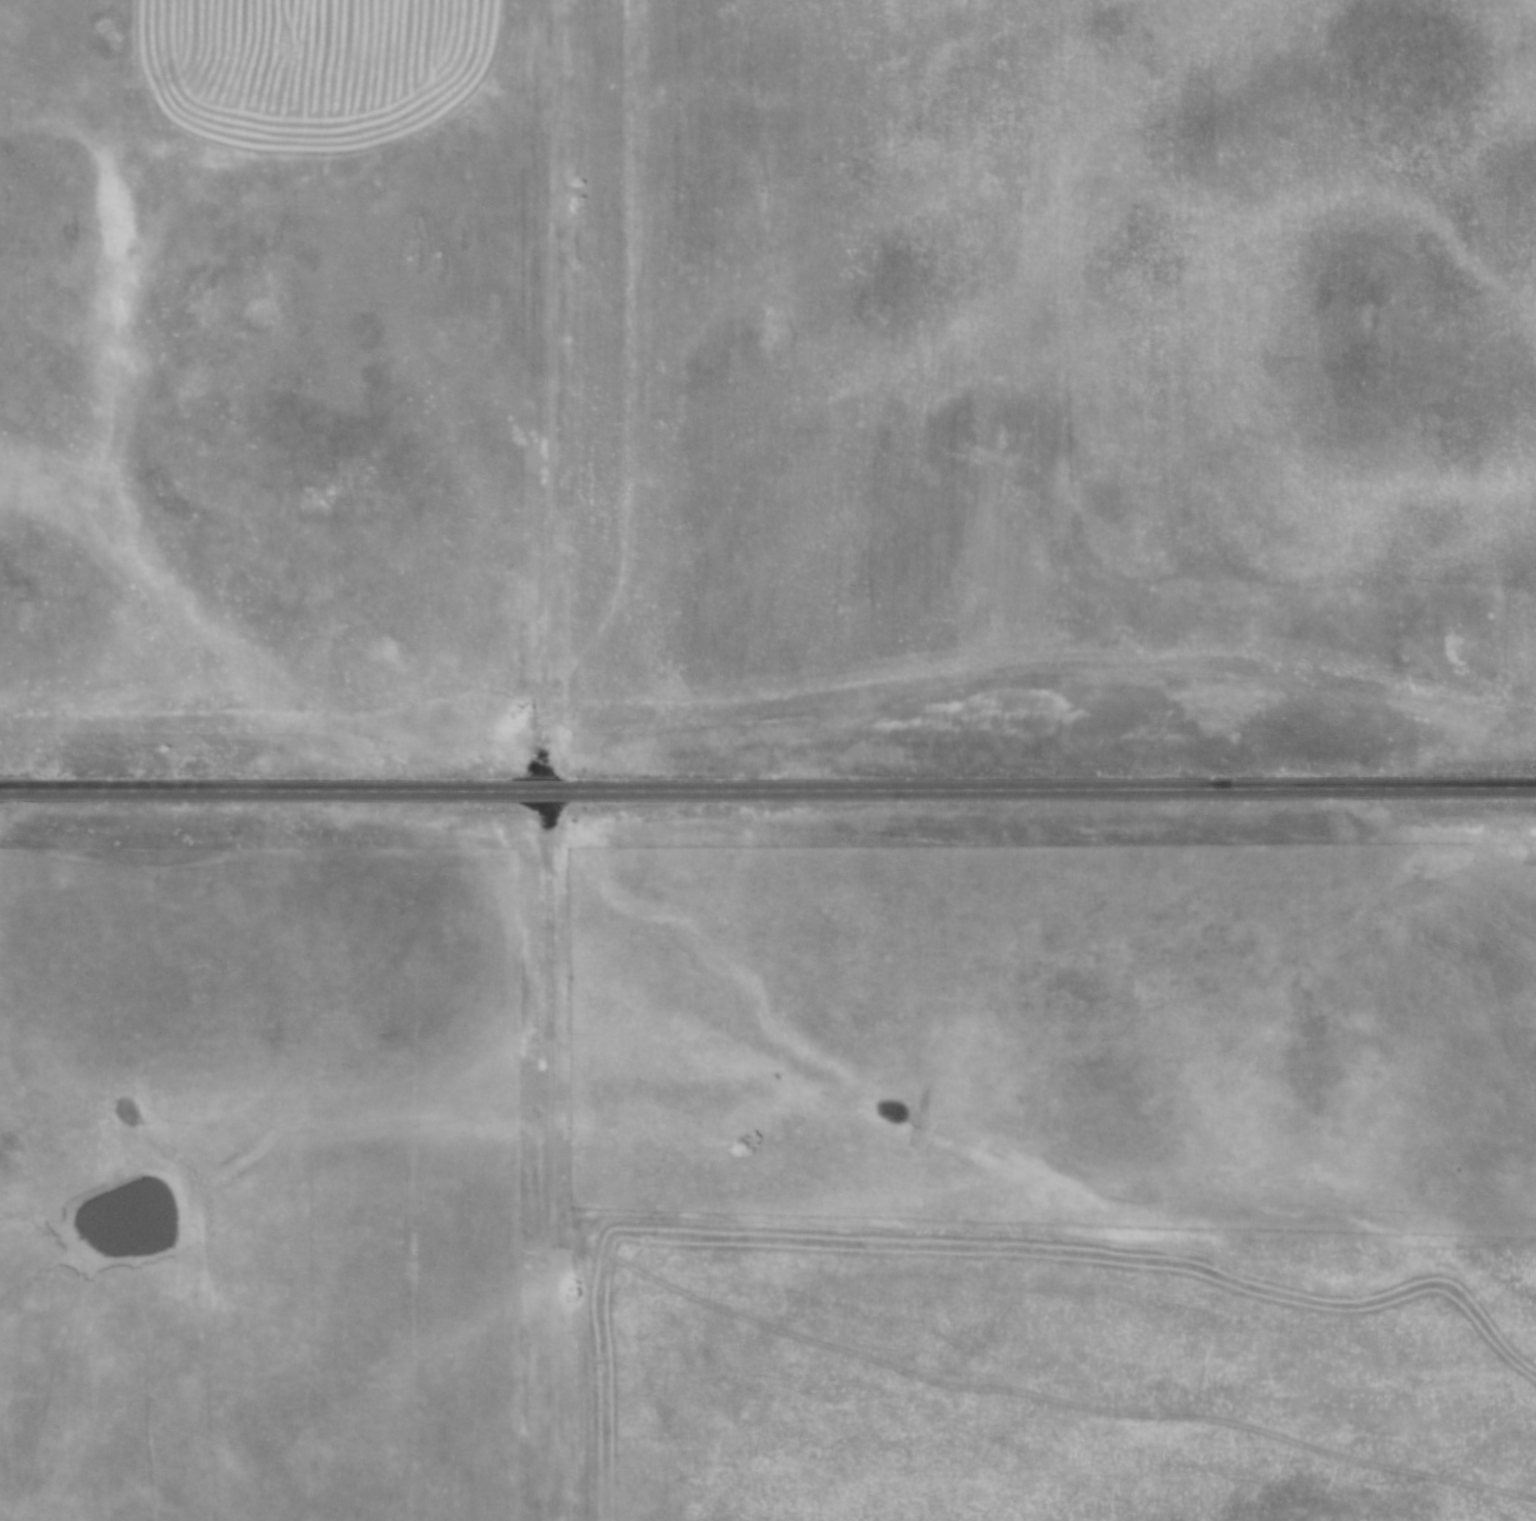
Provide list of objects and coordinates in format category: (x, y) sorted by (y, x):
road: (548, 760)
road: (768, 793)

